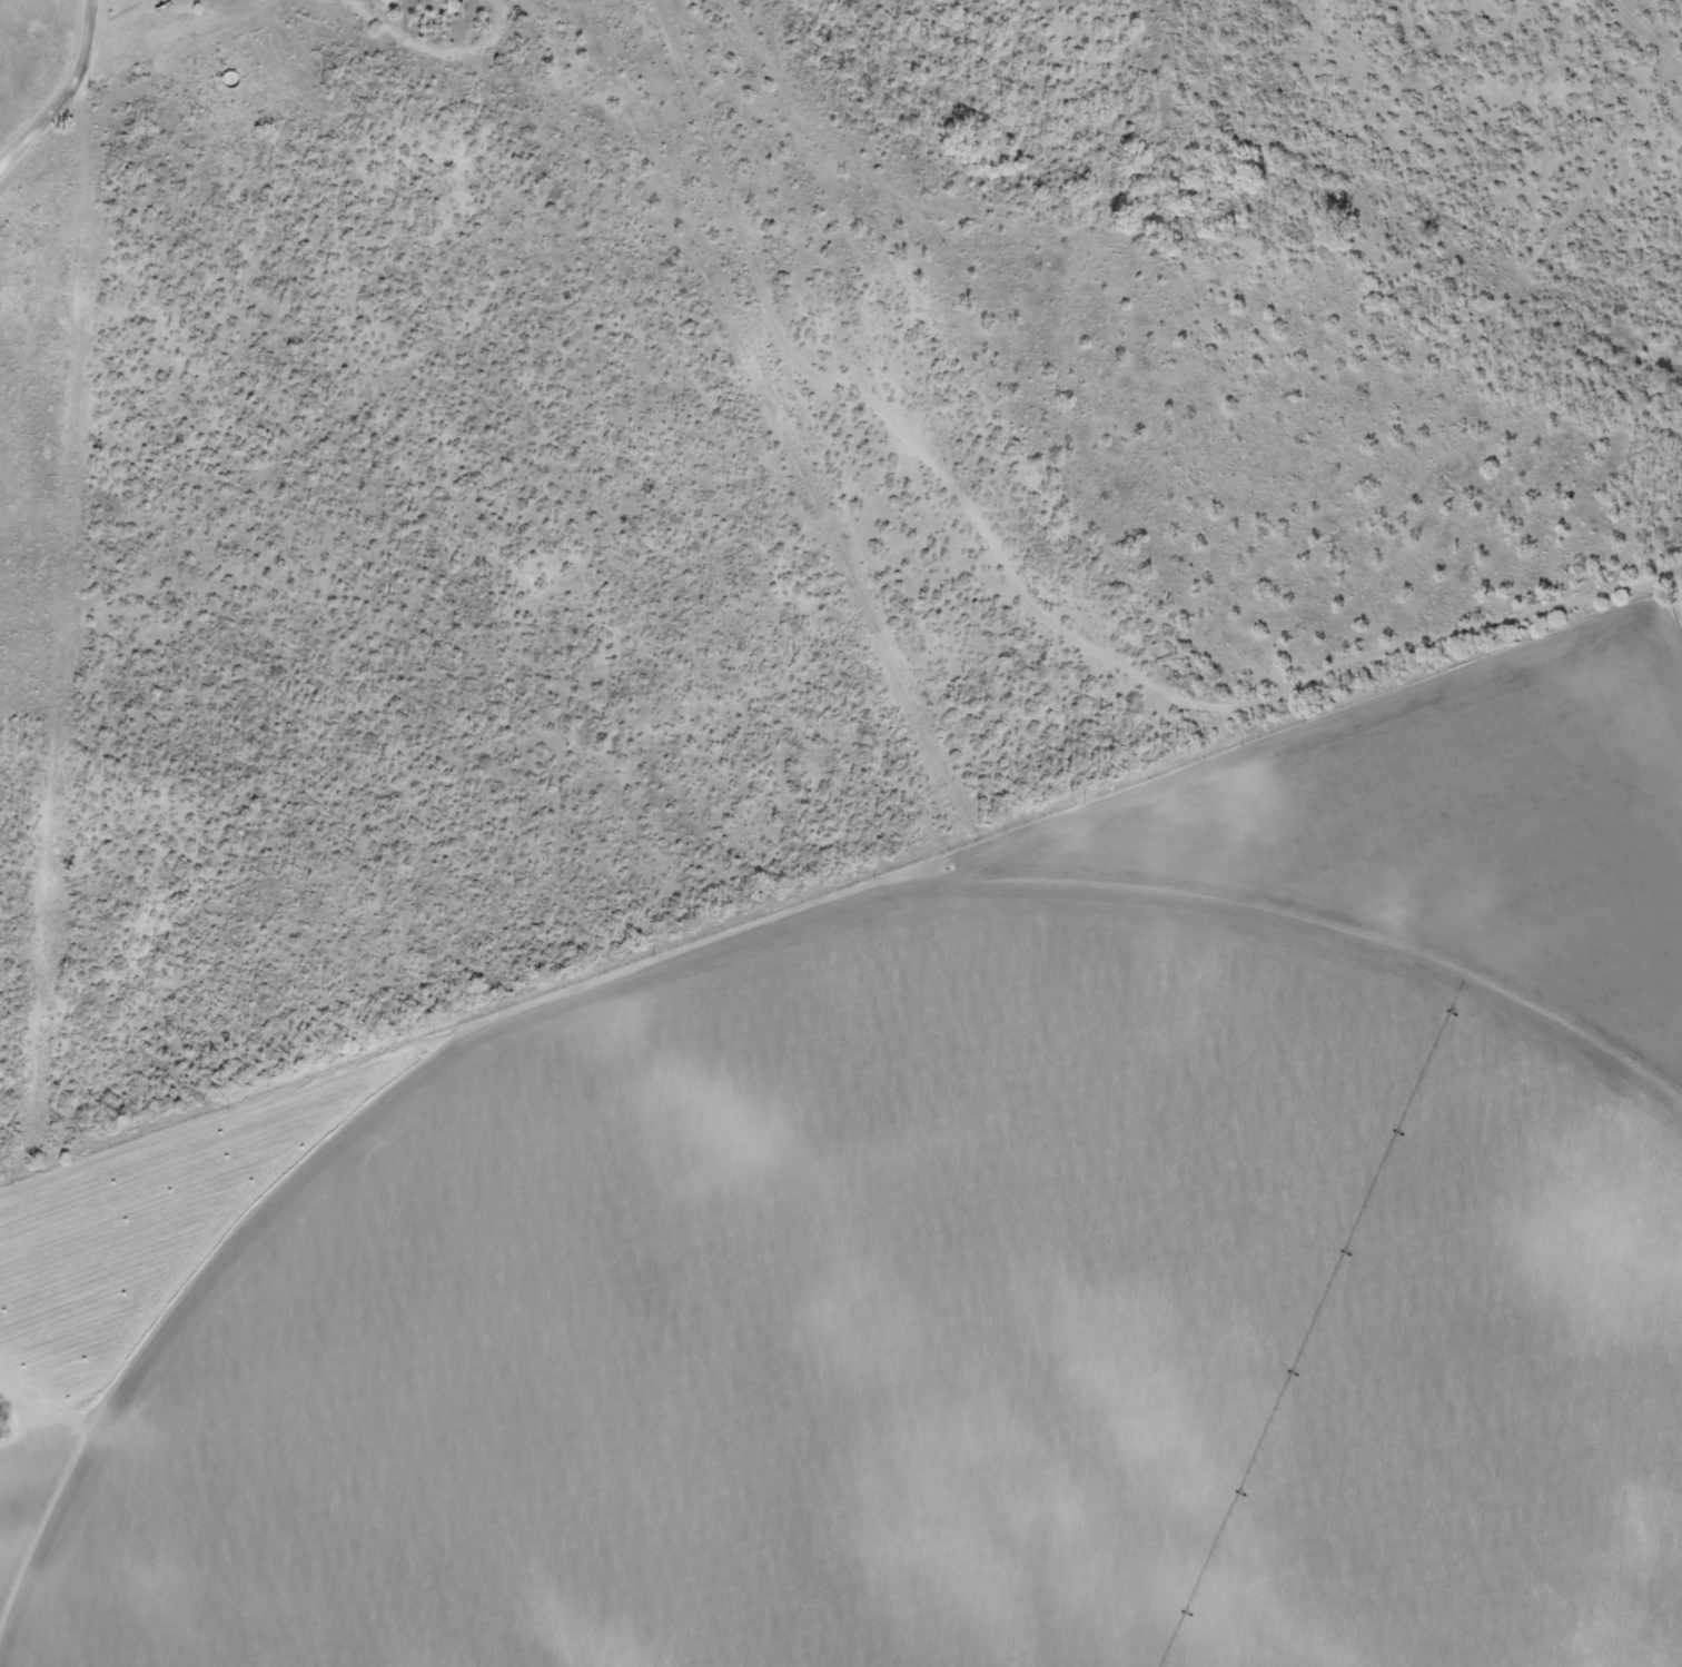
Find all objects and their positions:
road: (99, 27)
road: (152, 29)
road: (52, 116)
road: (1018, 591)

